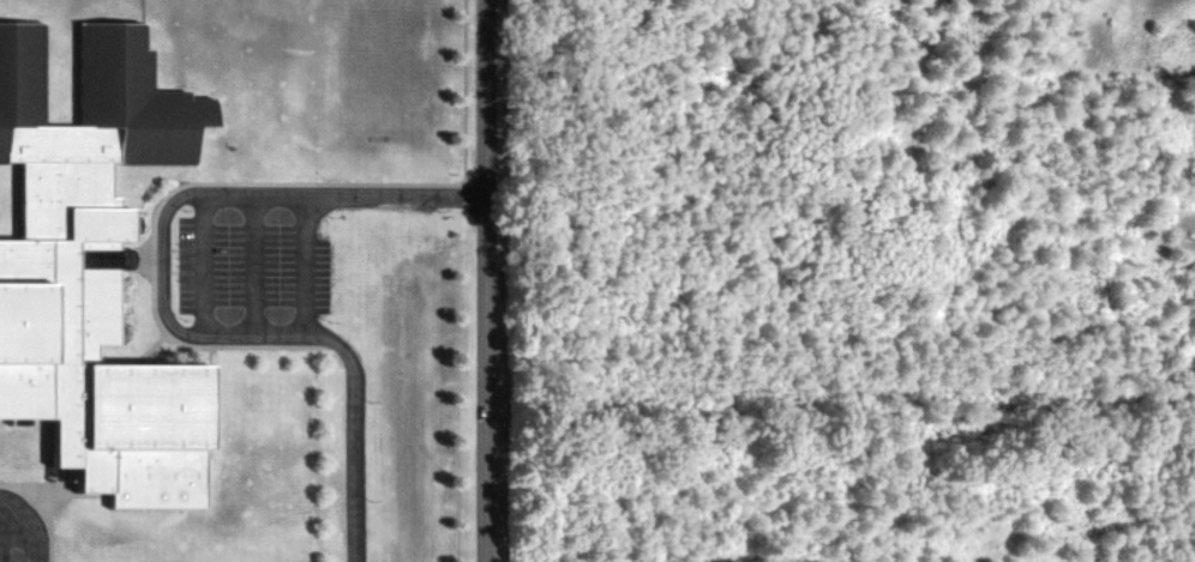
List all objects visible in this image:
road: (194, 266)
parking lot: (244, 266)
road: (302, 266)
road: (247, 267)
building: (95, 270)
road: (487, 280)
road: (163, 303)
park: (840, 491)
road: (26, 539)
road: (656, 554)

